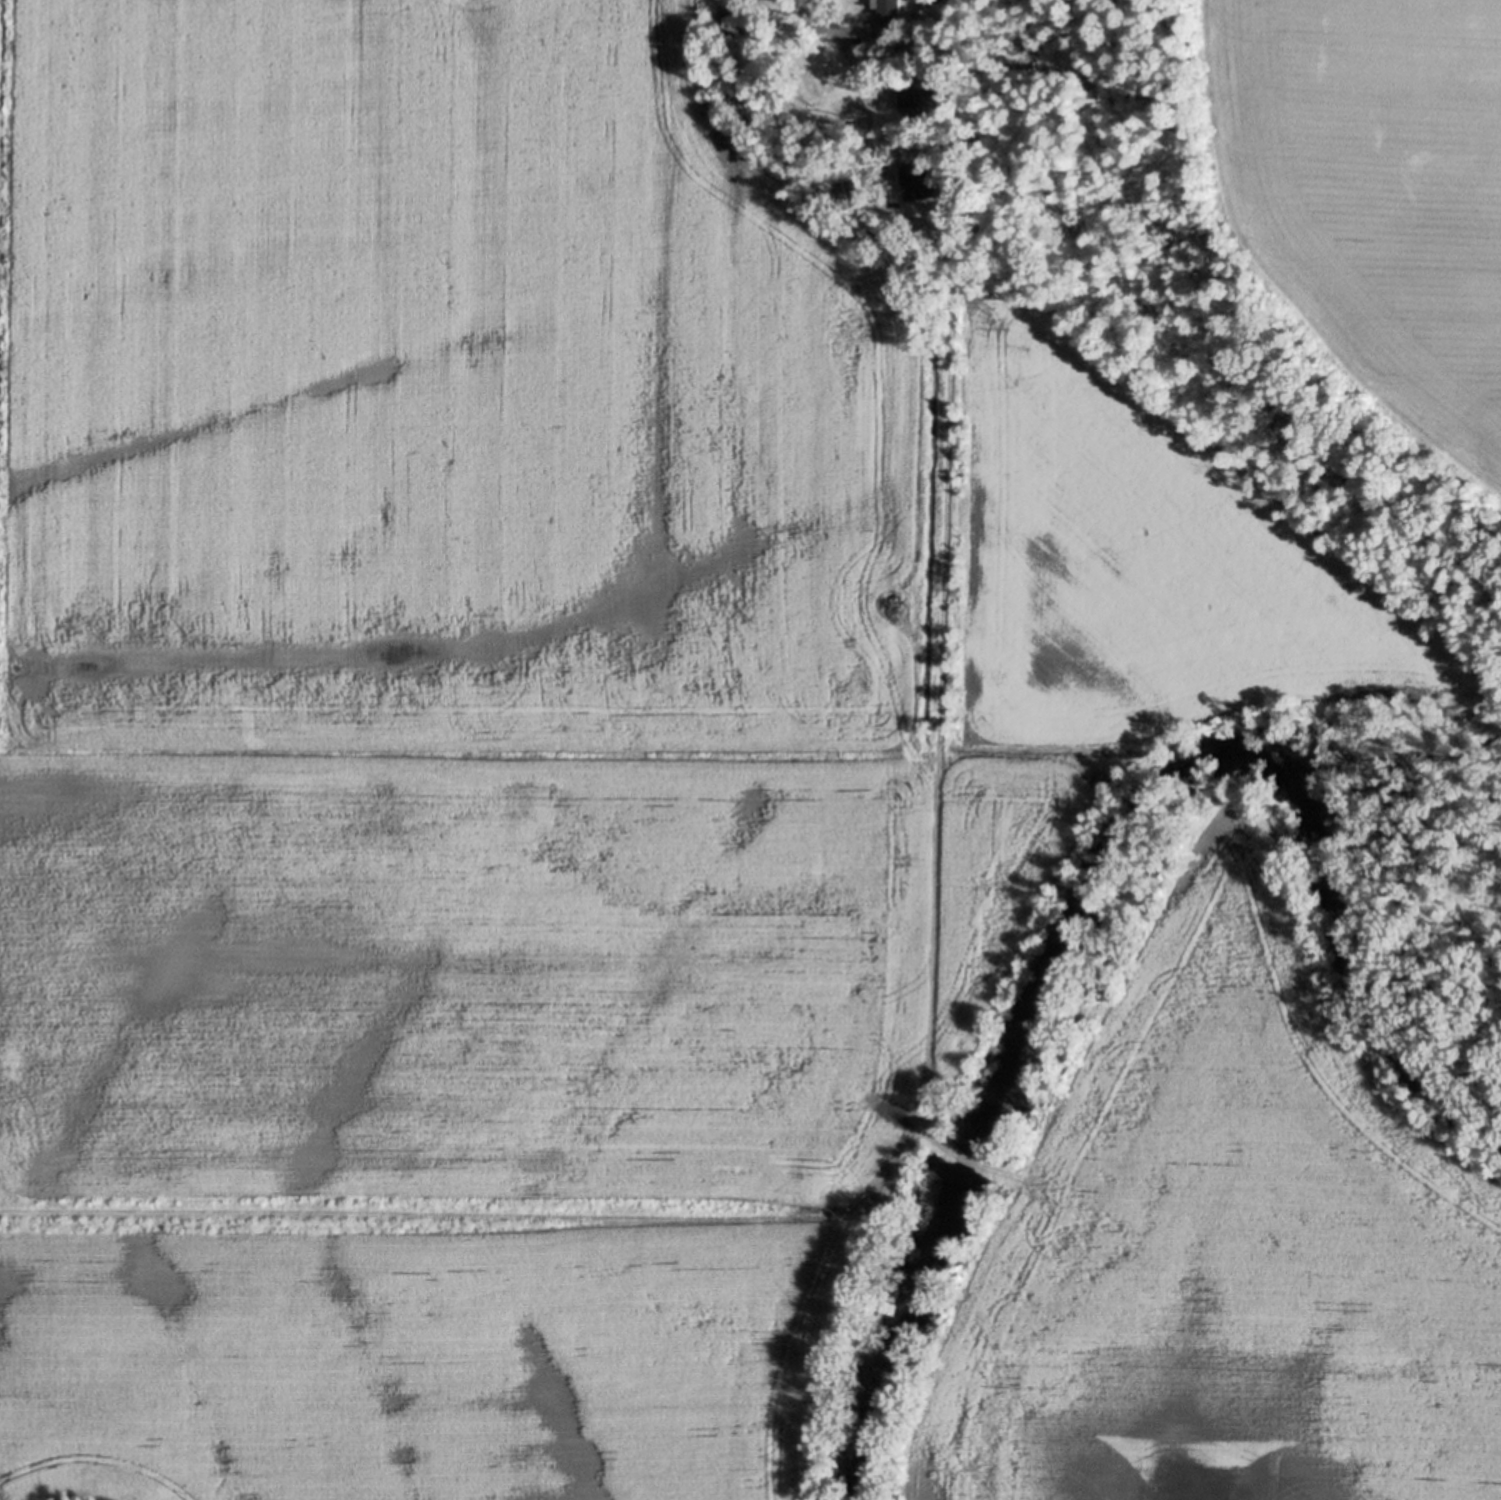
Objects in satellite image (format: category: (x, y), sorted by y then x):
building: (890, 7)
building: (920, 18)
building: (891, 25)
road: (855, 78)
building: (920, 88)
building: (795, 130)
building: (845, 190)
building: (920, 197)

